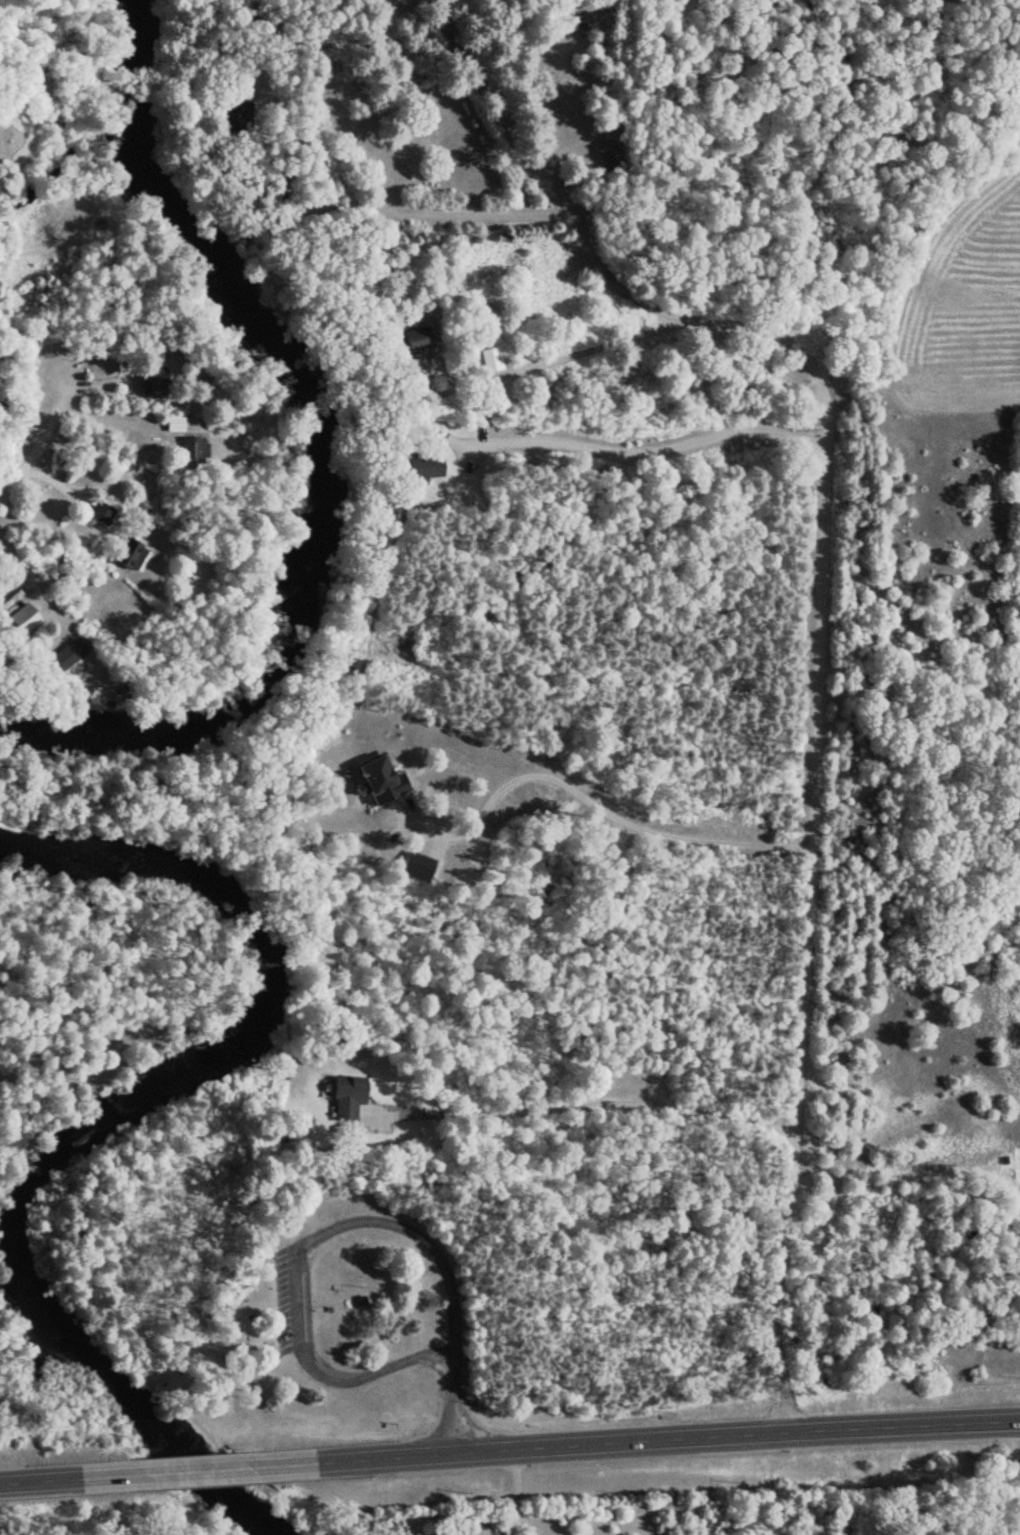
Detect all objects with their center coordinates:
building: (605, 157)
crop: (969, 294)
building: (489, 359)
building: (150, 380)
road: (29, 417)
building: (172, 423)
building: (186, 450)
river: (318, 457)
building: (99, 512)
building: (130, 553)
building: (21, 618)
road: (816, 619)
building: (382, 779)
building: (346, 1096)
river: (103, 1118)
park: (310, 1287)
road: (638, 1439)
road: (202, 1471)
road: (74, 1479)

